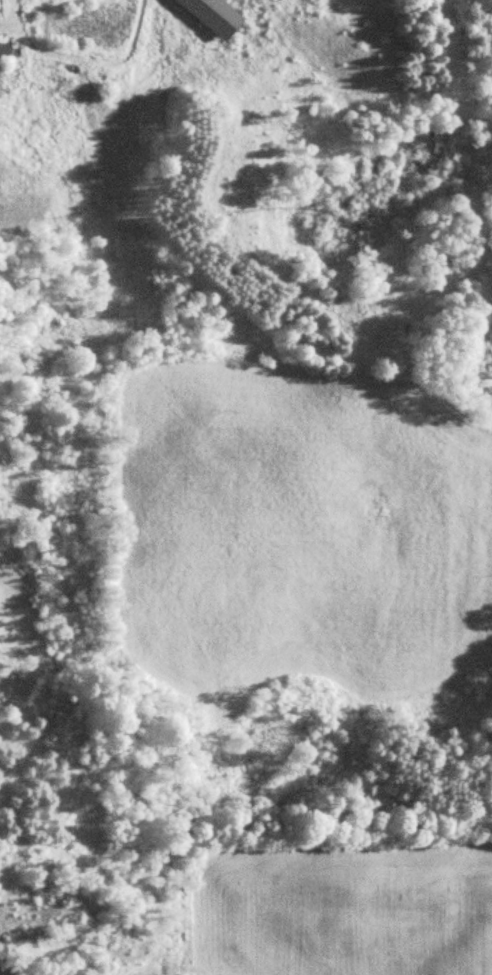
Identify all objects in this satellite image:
building: (7, 50)

